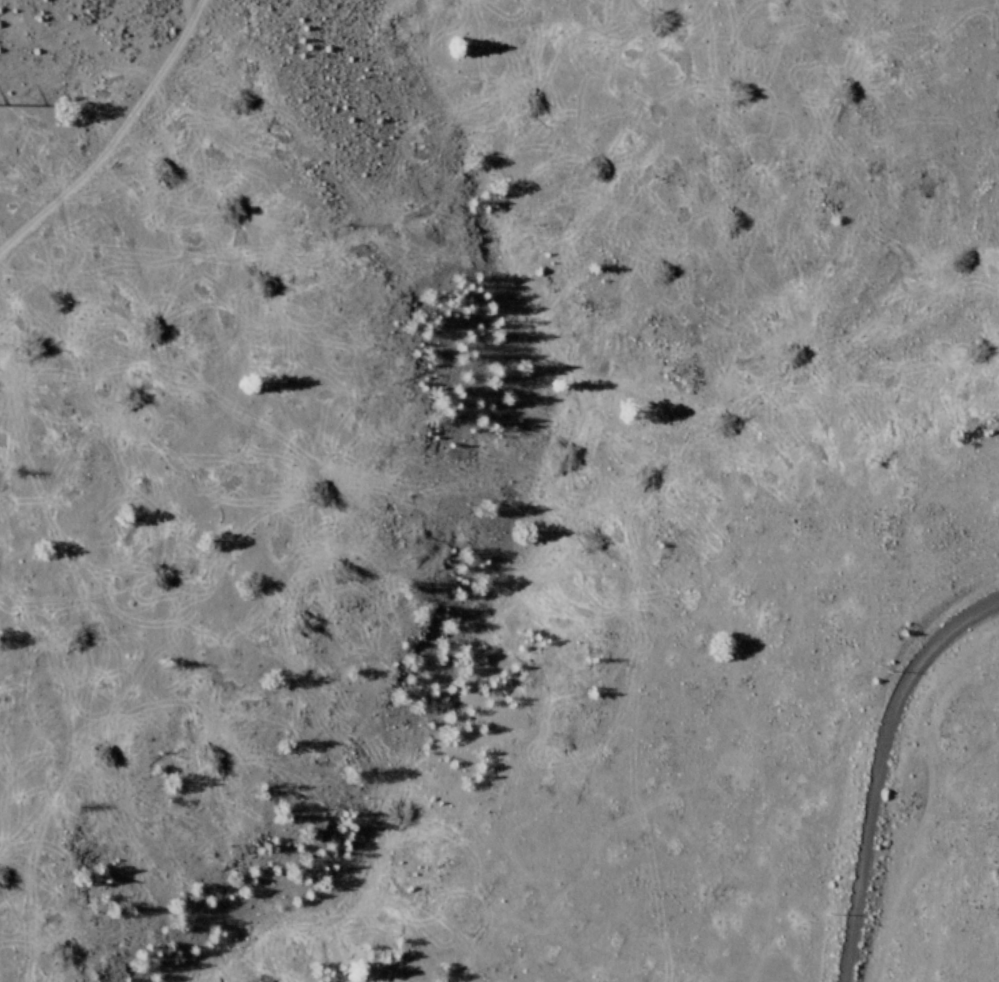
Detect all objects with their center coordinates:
road: (877, 771)

